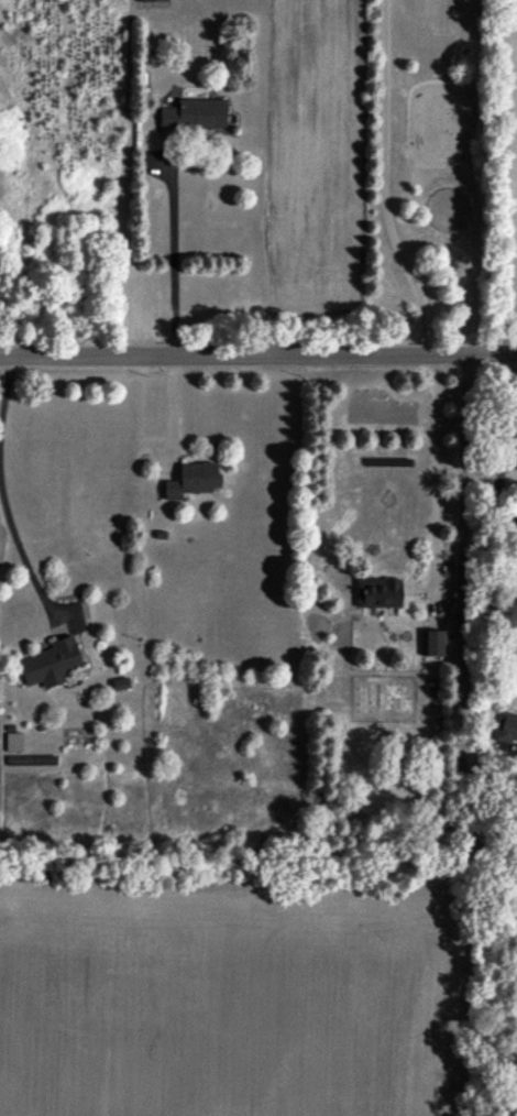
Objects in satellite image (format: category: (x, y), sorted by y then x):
building: (152, 0)
building: (194, 113)
crop: (505, 176)
road: (386, 180)
road: (173, 252)
road: (257, 354)
road: (5, 392)
road: (172, 413)
road: (503, 445)
road: (435, 470)
building: (193, 480)
road: (23, 552)
building: (378, 591)
road: (460, 635)
building: (431, 642)
building: (50, 661)
building: (506, 725)
building: (13, 741)

